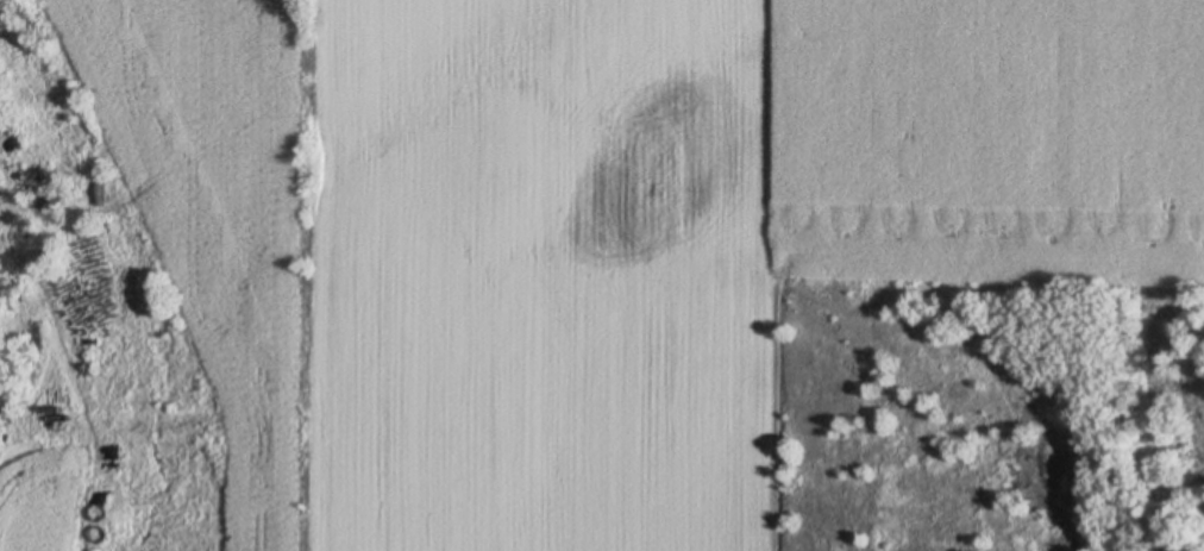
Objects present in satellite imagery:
crop: (619, 217)

